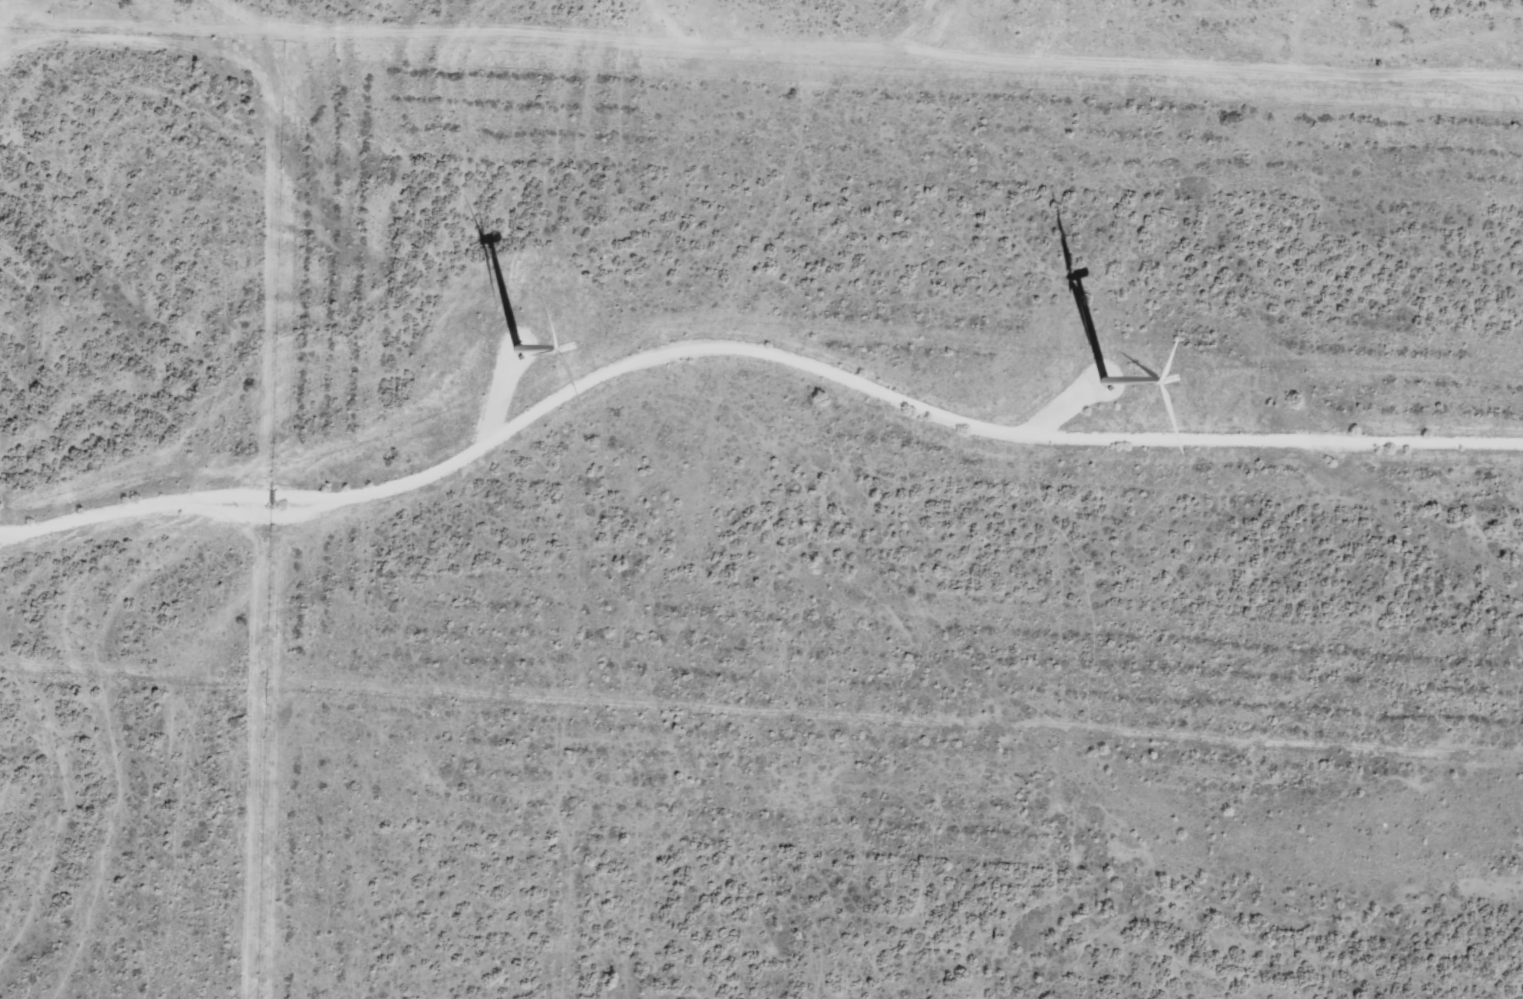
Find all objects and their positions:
road: (19, 62)
road: (868, 70)
wind turbine: (511, 348)
road: (749, 349)
wind turbine: (1114, 375)

